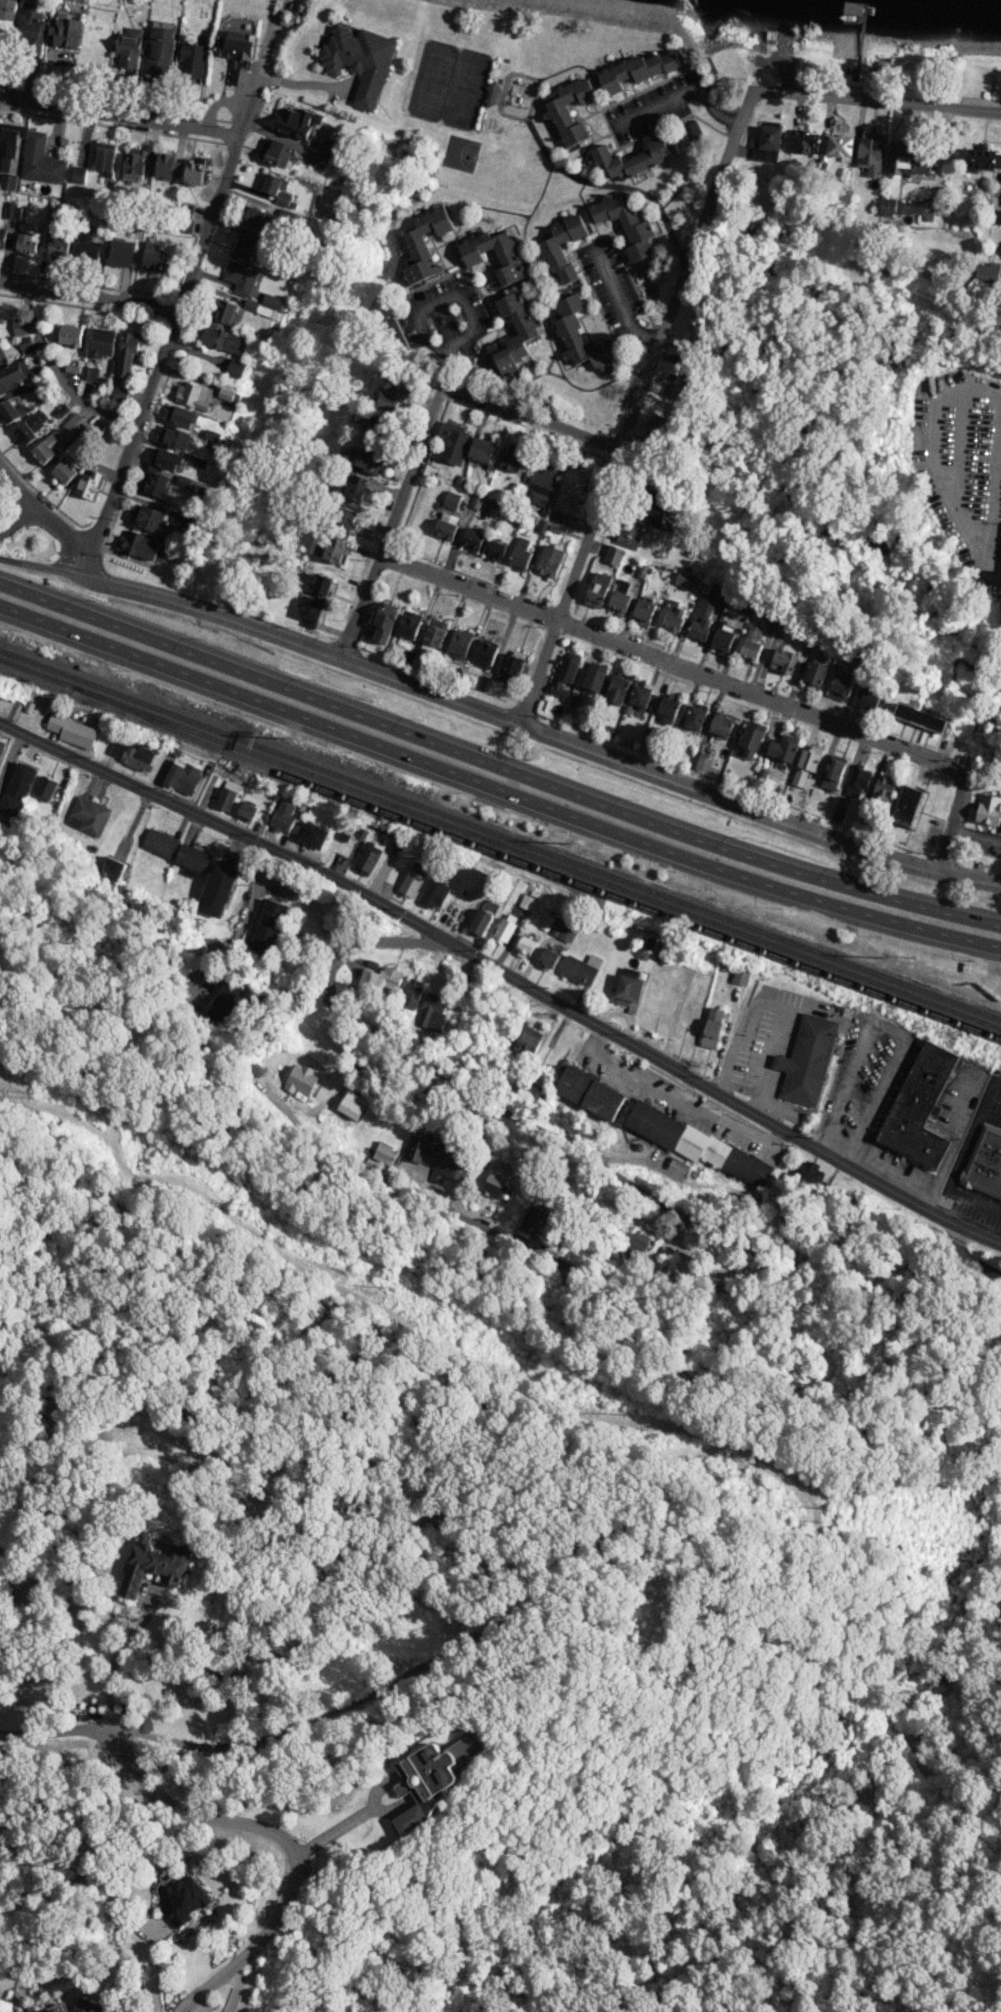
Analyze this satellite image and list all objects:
building: (6, 20)
building: (29, 28)
building: (67, 31)
building: (129, 47)
building: (160, 49)
building: (235, 53)
building: (193, 60)
building: (359, 61)
road: (581, 66)
building: (636, 71)
road: (260, 79)
park: (434, 81)
park: (463, 89)
building: (491, 93)
road: (680, 99)
road: (877, 100)
building: (557, 112)
road: (119, 117)
building: (297, 122)
building: (695, 128)
building: (804, 141)
building: (10, 142)
building: (768, 142)
building: (333, 147)
building: (836, 147)
building: (870, 148)
building: (276, 153)
park: (460, 153)
road: (690, 158)
building: (983, 158)
building: (105, 159)
building: (909, 159)
building: (320, 160)
road: (551, 160)
building: (632, 160)
building: (41, 161)
building: (134, 165)
building: (168, 166)
building: (193, 173)
building: (78, 174)
building: (9, 181)
building: (279, 190)
building: (891, 205)
road: (480, 207)
building: (185, 209)
road: (584, 209)
building: (20, 212)
building: (996, 216)
building: (260, 218)
building: (627, 229)
building: (2, 236)
building: (28, 242)
building: (60, 244)
building: (424, 244)
building: (89, 245)
building: (244, 247)
building: (550, 251)
building: (123, 252)
building: (154, 258)
building: (510, 264)
road: (533, 268)
building: (987, 272)
building: (240, 277)
road: (393, 285)
road: (87, 298)
road: (461, 298)
road: (618, 298)
building: (272, 300)
road: (594, 300)
building: (258, 307)
building: (225, 310)
building: (19, 326)
building: (526, 332)
building: (69, 334)
building: (397, 337)
building: (579, 337)
building: (224, 339)
building: (103, 341)
building: (25, 344)
road: (163, 347)
building: (128, 353)
building: (1, 355)
road: (550, 362)
building: (236, 368)
building: (90, 372)
road: (56, 375)
building: (10, 376)
building: (673, 384)
building: (27, 385)
building: (225, 393)
building: (119, 395)
building: (194, 397)
building: (387, 401)
road: (635, 404)
building: (62, 409)
building: (11, 410)
building: (183, 417)
road: (530, 418)
building: (75, 424)
building: (31, 427)
building: (653, 428)
building: (174, 437)
road: (959, 442)
building: (454, 443)
building: (49, 445)
road: (929, 451)
building: (484, 452)
building: (168, 459)
building: (365, 460)
building: (511, 460)
building: (65, 471)
building: (88, 484)
building: (156, 484)
building: (541, 484)
road: (17, 485)
building: (355, 488)
building: (570, 490)
building: (451, 499)
road: (990, 509)
building: (651, 511)
building: (135, 512)
road: (18, 517)
building: (151, 518)
building: (345, 519)
road: (392, 519)
building: (446, 525)
road: (62, 531)
building: (629, 534)
building: (471, 538)
building: (144, 547)
building: (327, 547)
building: (495, 549)
building: (520, 553)
building: (612, 555)
building: (550, 560)
road: (42, 566)
road: (87, 566)
building: (687, 580)
building: (320, 584)
building: (597, 590)
building: (620, 597)
building: (706, 609)
building: (311, 611)
building: (644, 611)
building: (674, 615)
building: (384, 621)
building: (410, 624)
building: (435, 632)
building: (723, 637)
road: (303, 641)
building: (751, 642)
building: (460, 643)
building: (485, 652)
road: (660, 655)
building: (783, 660)
building: (511, 665)
building: (565, 674)
building: (815, 674)
building: (595, 677)
building: (485, 683)
building: (841, 684)
building: (617, 689)
building: (640, 696)
building: (574, 698)
building: (872, 700)
building: (668, 709)
building: (695, 717)
building: (920, 717)
building: (724, 725)
building: (72, 730)
building: (751, 740)
building: (1, 745)
building: (784, 748)
building: (131, 754)
building: (806, 765)
road: (496, 766)
building: (833, 772)
building: (183, 777)
building: (858, 781)
building: (45, 787)
building: (16, 788)
building: (883, 789)
building: (228, 794)
road: (495, 794)
building: (906, 804)
road: (757, 807)
building: (989, 809)
building: (248, 810)
road: (956, 812)
building: (88, 815)
building: (283, 816)
road: (976, 833)
building: (314, 835)
railway: (500, 835)
building: (160, 843)
railway: (500, 844)
building: (367, 858)
building: (192, 860)
building: (112, 867)
railway: (535, 867)
building: (410, 883)
building: (218, 890)
building: (433, 893)
building: (526, 901)
building: (480, 921)
building: (269, 926)
building: (505, 927)
road: (243, 929)
building: (562, 931)
building: (525, 946)
building: (547, 959)
building: (580, 969)
building: (740, 976)
road: (505, 977)
building: (381, 979)
building: (628, 989)
building: (411, 992)
building: (224, 1004)
building: (432, 1011)
building: (690, 1011)
building: (712, 1027)
building: (528, 1040)
building: (806, 1059)
building: (301, 1080)
building: (529, 1092)
building: (590, 1092)
building: (918, 1106)
building: (696, 1143)
building: (383, 1153)
building: (435, 1159)
building: (985, 1162)
building: (810, 1175)
building: (494, 1182)
road: (655, 1203)
building: (533, 1219)
building: (637, 1243)
road: (966, 1258)
building: (153, 1565)
road: (115, 1656)
road: (11, 1741)
building: (430, 1779)
road: (347, 1821)
road: (234, 1823)
building: (183, 1900)
building: (83, 2006)
building: (54, 2009)

